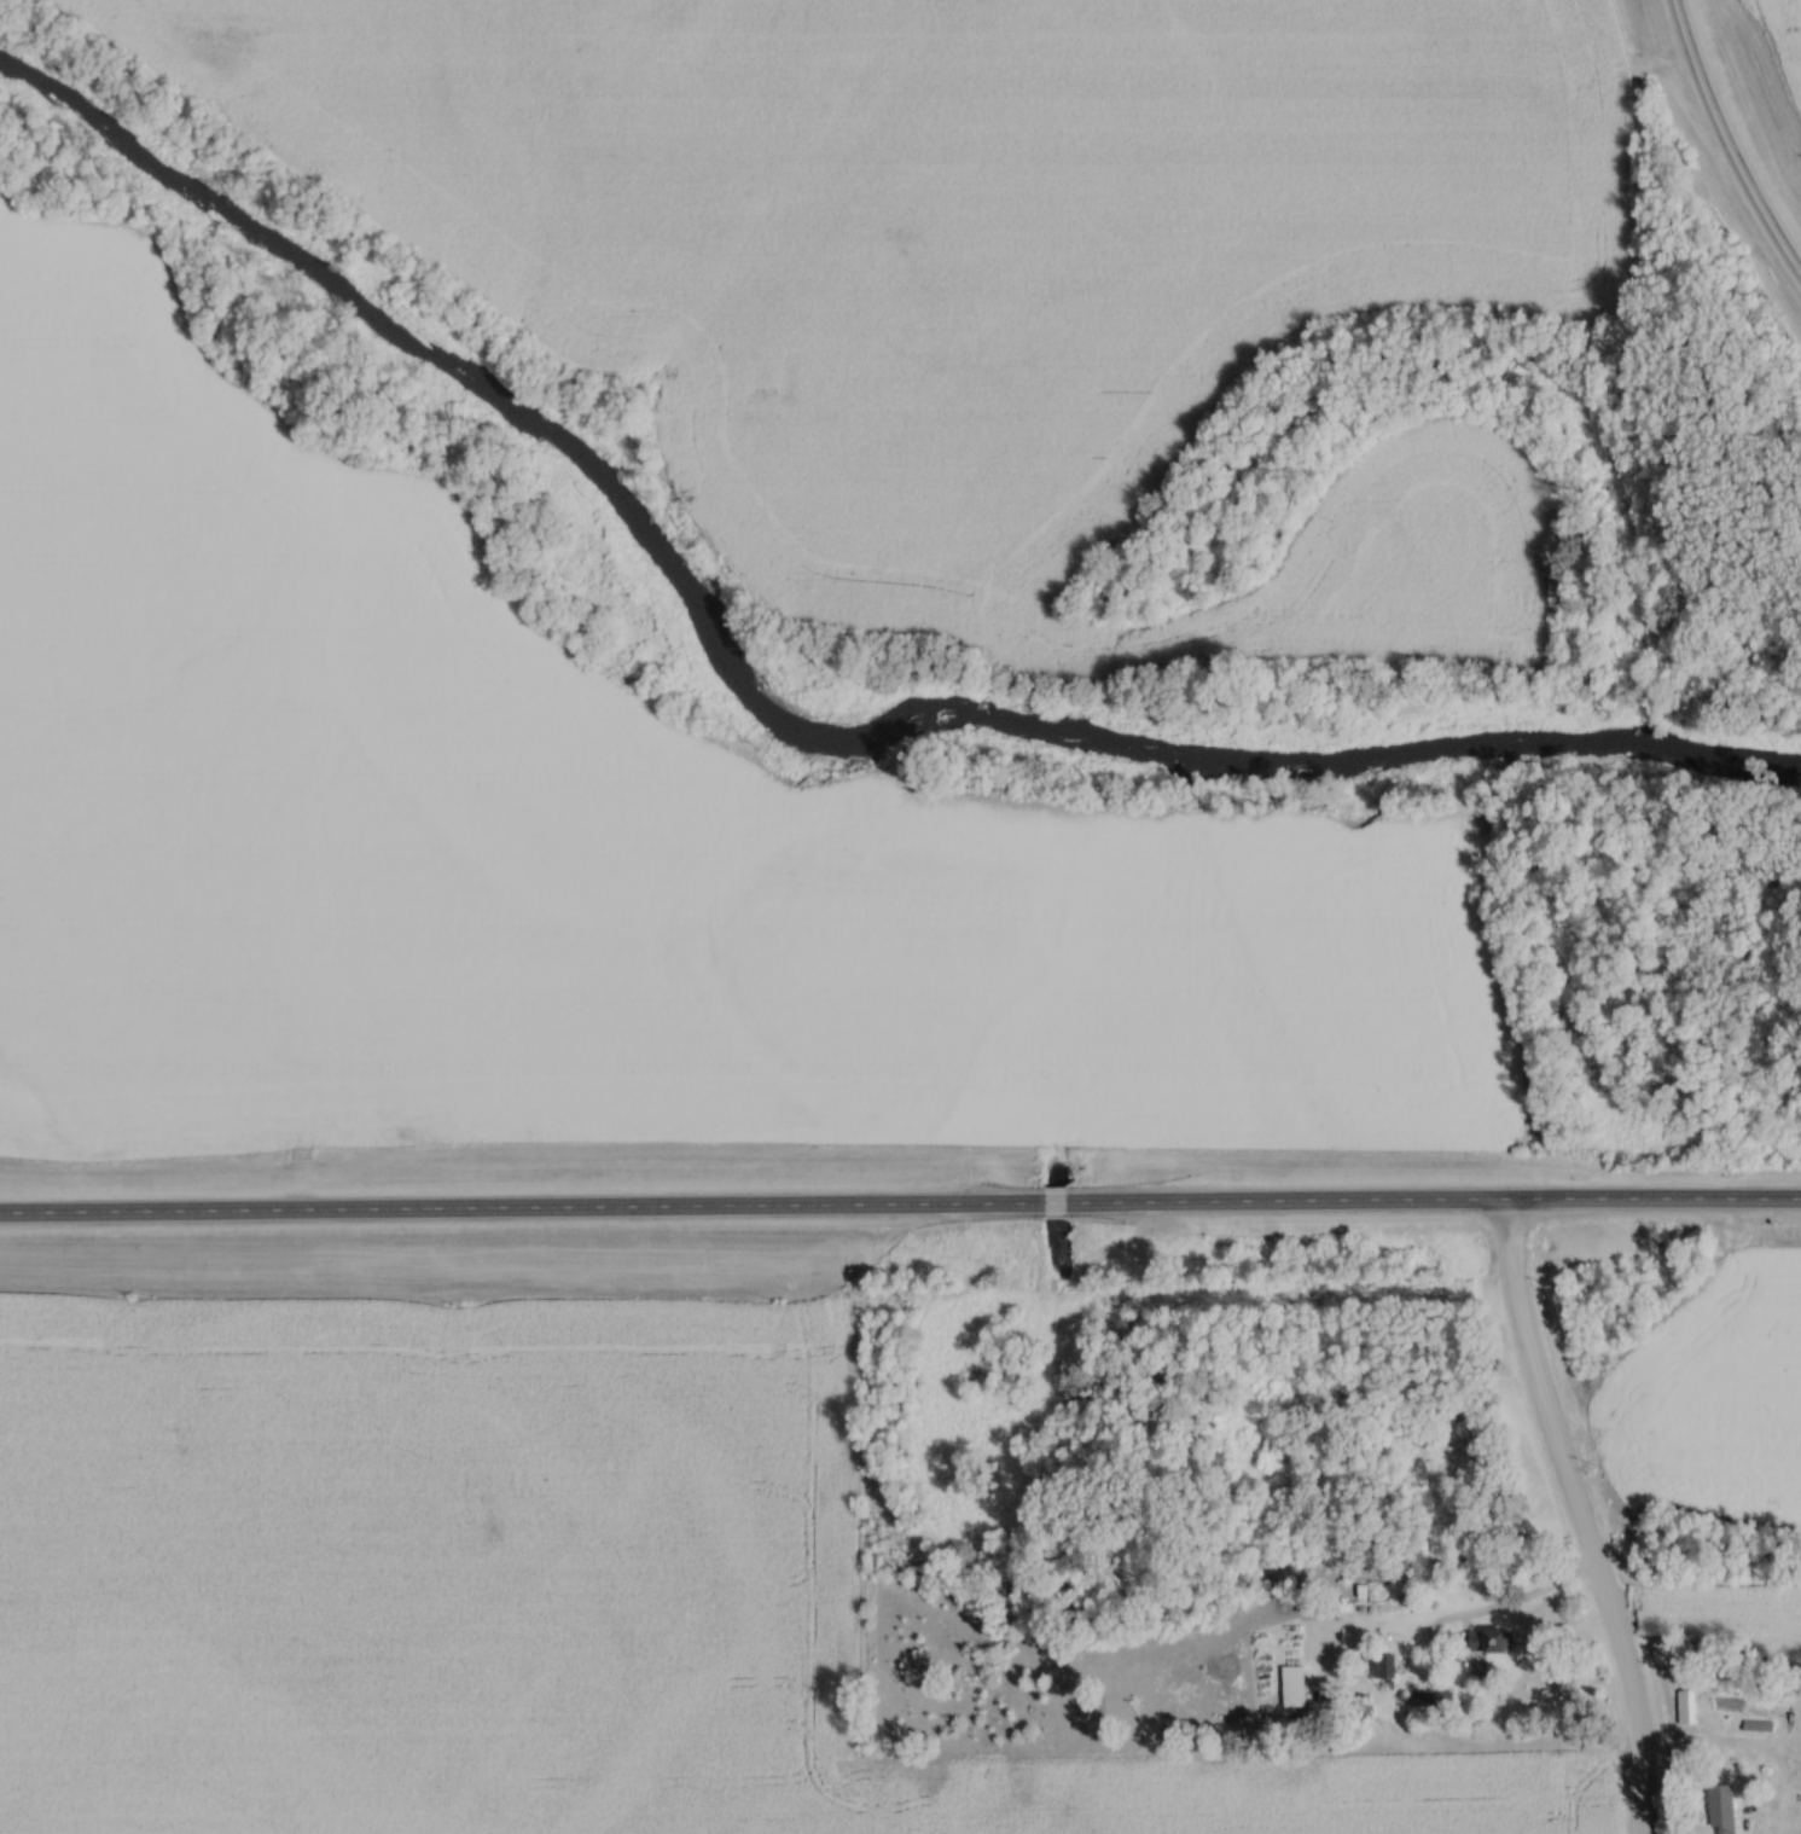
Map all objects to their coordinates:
road: (1724, 144)
river: (778, 701)
road: (900, 1207)
road: (1575, 1516)
building: (1376, 1591)
road: (1532, 1592)
road: (1435, 1635)
building: (1492, 1644)
building: (1435, 1702)
building: (1689, 1710)
building: (1365, 1719)
road: (1745, 1747)
building: (1722, 1810)

